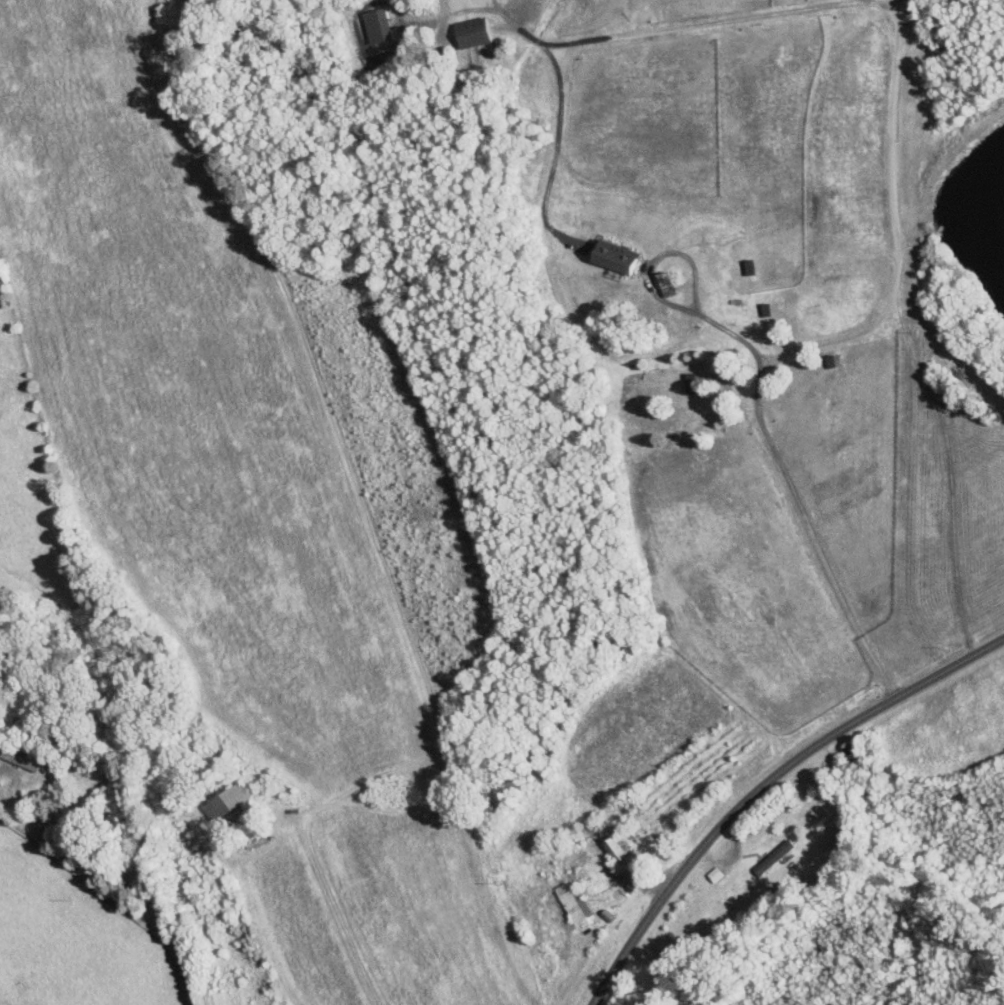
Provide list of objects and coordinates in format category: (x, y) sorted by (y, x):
road: (498, 6)
road: (469, 8)
road: (897, 23)
building: (378, 24)
building: (476, 31)
road: (555, 151)
building: (620, 256)
road: (657, 295)
building: (692, 382)
road: (948, 467)
road: (810, 534)
road: (765, 786)
building: (229, 802)
road: (454, 819)
building: (624, 856)
building: (777, 858)
road: (110, 899)
building: (575, 902)

